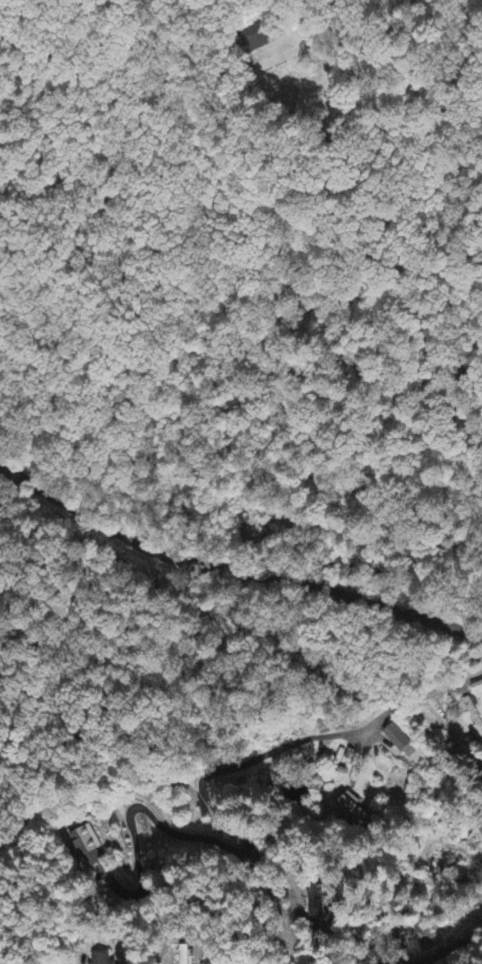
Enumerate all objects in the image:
road: (232, 571)
building: (477, 688)
building: (472, 704)
building: (406, 746)
road: (207, 799)
building: (353, 810)
road: (449, 949)
building: (102, 959)

